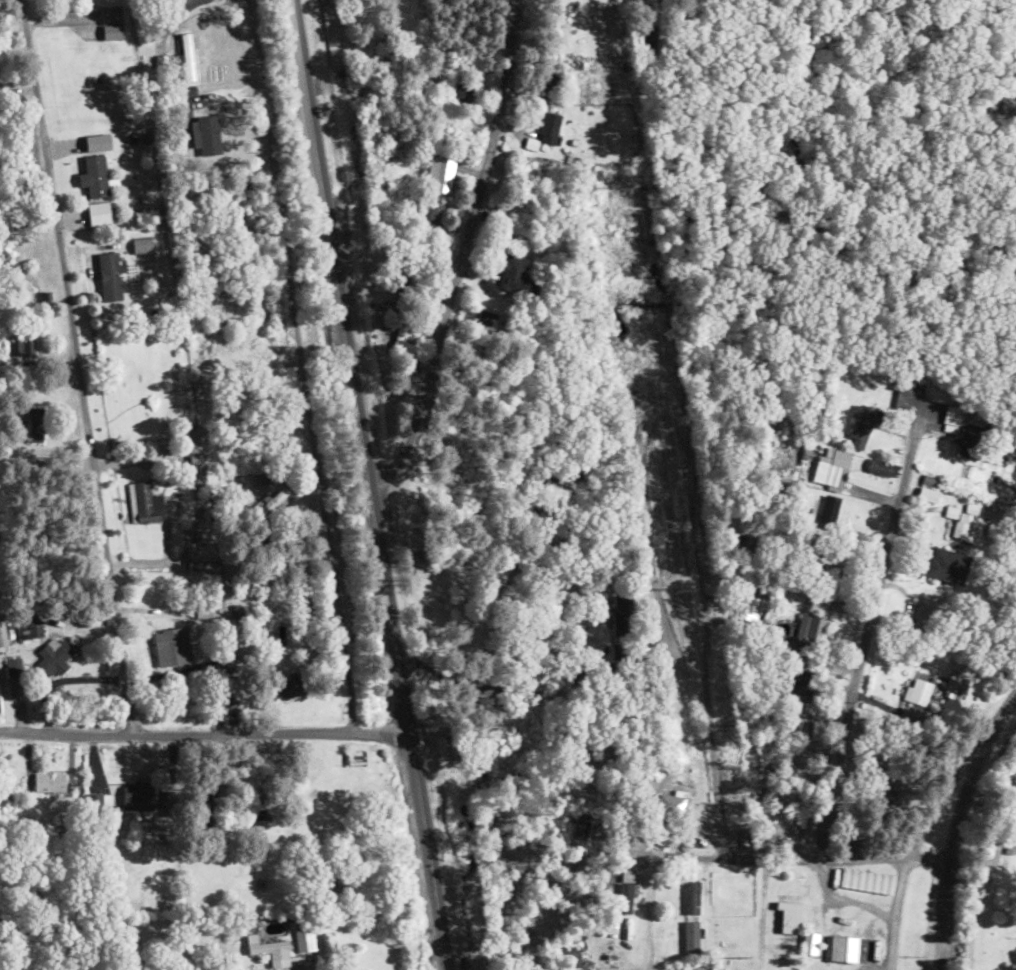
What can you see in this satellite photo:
building: (113, 23)
building: (647, 39)
building: (554, 82)
building: (463, 92)
building: (550, 127)
building: (440, 174)
building: (103, 186)
power tower: (618, 189)
building: (508, 203)
building: (428, 219)
building: (143, 245)
road: (462, 251)
building: (516, 275)
building: (112, 276)
building: (405, 278)
building: (487, 319)
building: (27, 341)
road: (299, 366)
road: (74, 367)
building: (906, 386)
building: (776, 394)
building: (952, 418)
building: (35, 422)
building: (865, 423)
building: (976, 441)
building: (193, 446)
building: (883, 467)
building: (832, 468)
road: (367, 485)
building: (930, 493)
building: (271, 501)
building: (145, 502)
building: (962, 522)
road: (650, 553)
building: (819, 555)
building: (283, 556)
building: (204, 565)
building: (948, 565)
power tower: (681, 584)
building: (496, 587)
building: (745, 606)
building: (929, 610)
building: (623, 614)
building: (813, 625)
building: (32, 628)
building: (3, 633)
road: (865, 637)
road: (704, 643)
building: (172, 645)
building: (620, 650)
building: (491, 652)
building: (57, 657)
building: (13, 662)
building: (228, 680)
building: (801, 683)
building: (958, 683)
building: (288, 687)
building: (920, 691)
road: (204, 733)
building: (50, 780)
building: (138, 795)
building: (171, 802)
building: (675, 802)
building: (263, 808)
road: (956, 824)
building: (1011, 846)
road: (749, 855)
building: (867, 880)
building: (693, 896)
building: (625, 897)
road: (762, 912)
road: (900, 914)
building: (791, 916)
building: (692, 936)
building: (838, 947)
building: (272, 949)
power tower: (740, 955)
building: (682, 969)

